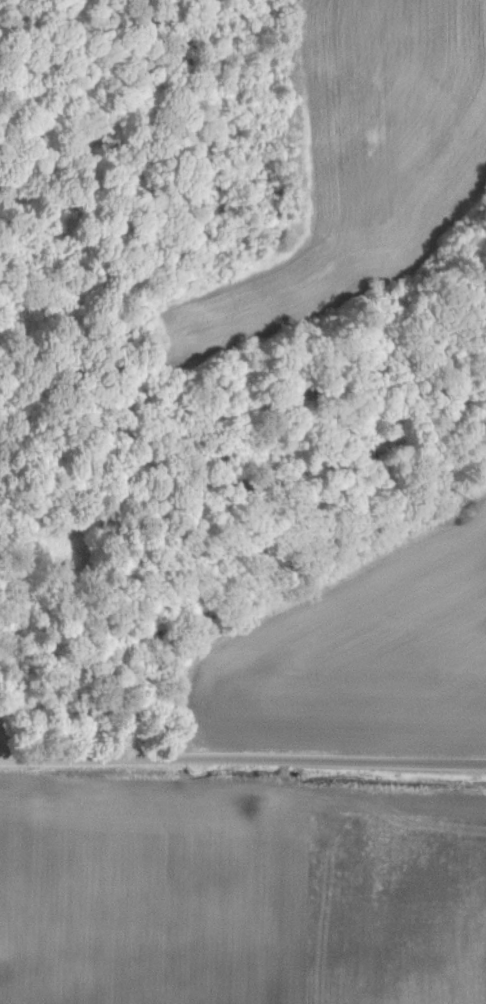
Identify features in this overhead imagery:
road: (243, 767)

